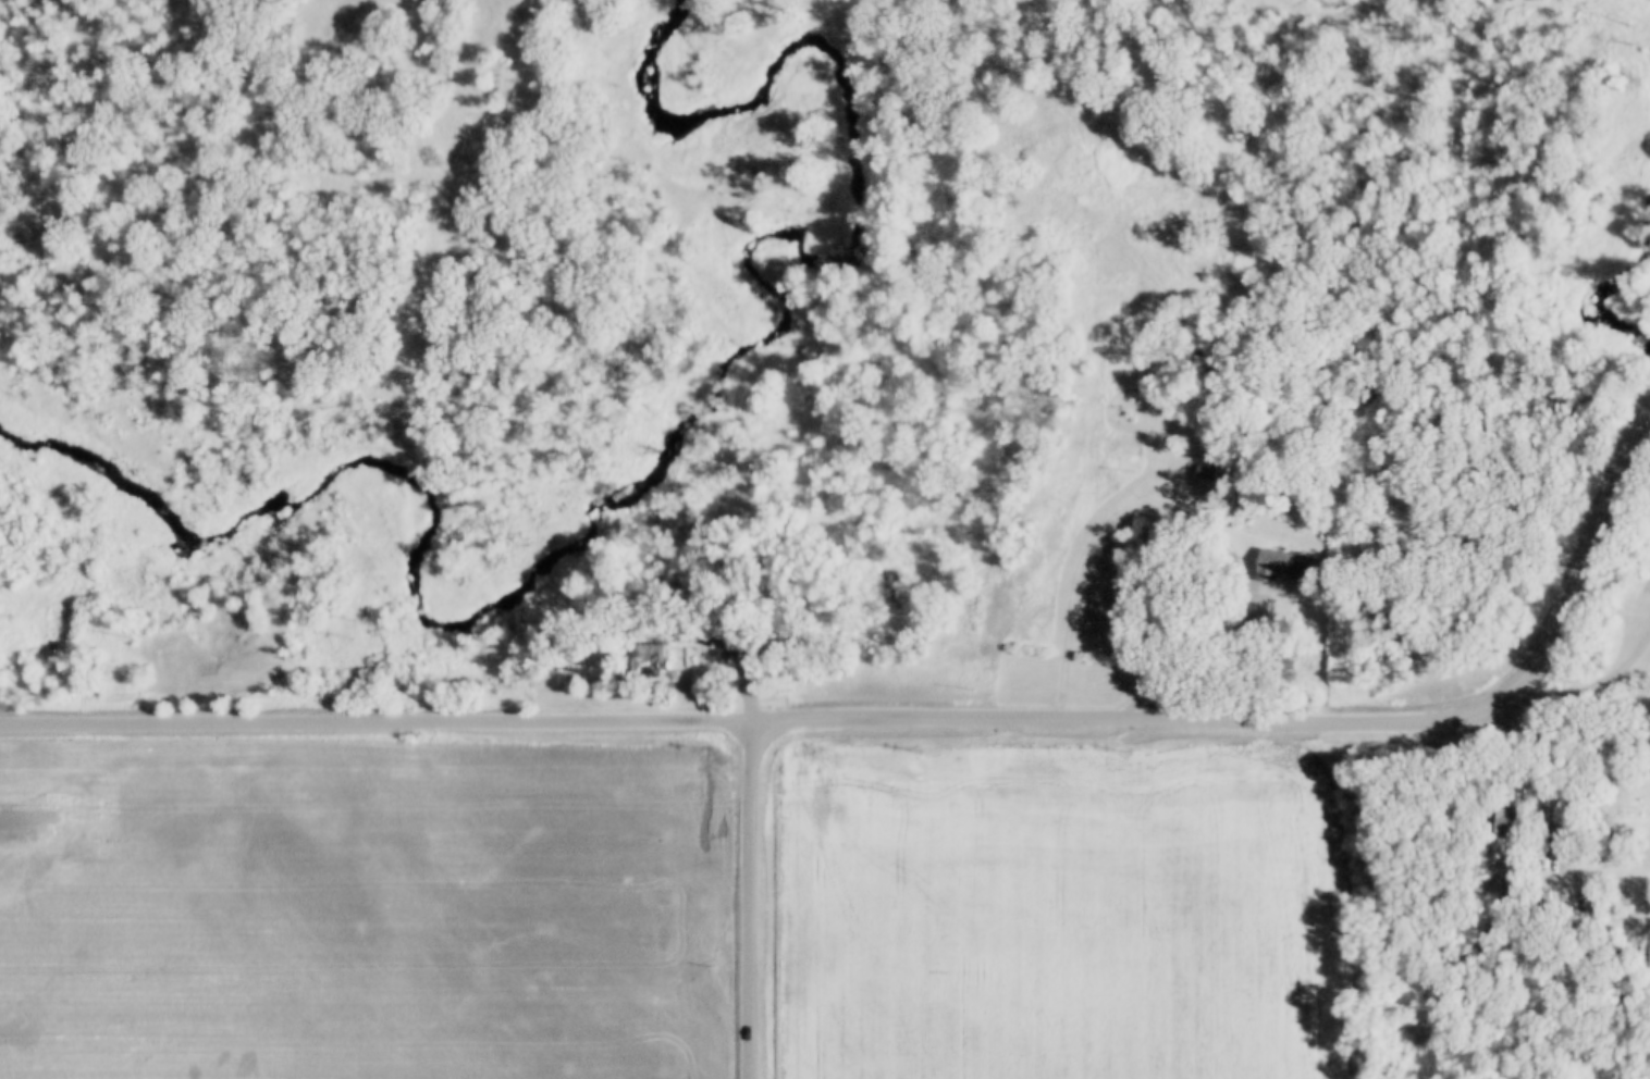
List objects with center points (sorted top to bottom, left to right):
building: (1203, 472)
road: (1129, 485)
building: (1281, 567)
road: (1194, 650)
building: (648, 660)
road: (919, 720)
building: (1494, 821)
road: (751, 901)
building: (1531, 903)

